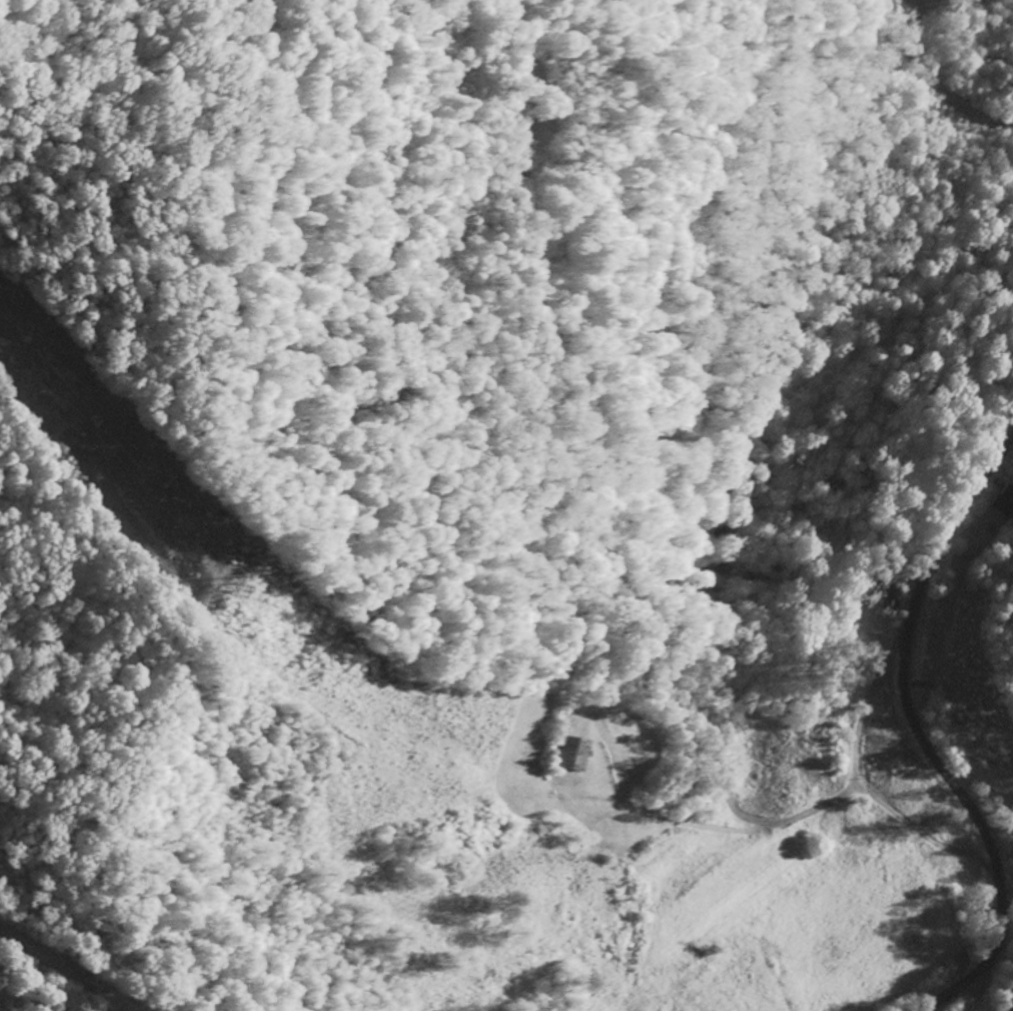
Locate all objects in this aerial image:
road: (937, 81)
building: (1003, 500)
road: (596, 560)
power tower: (259, 586)
road: (904, 693)
building: (573, 753)
road: (976, 985)
road: (952, 988)

